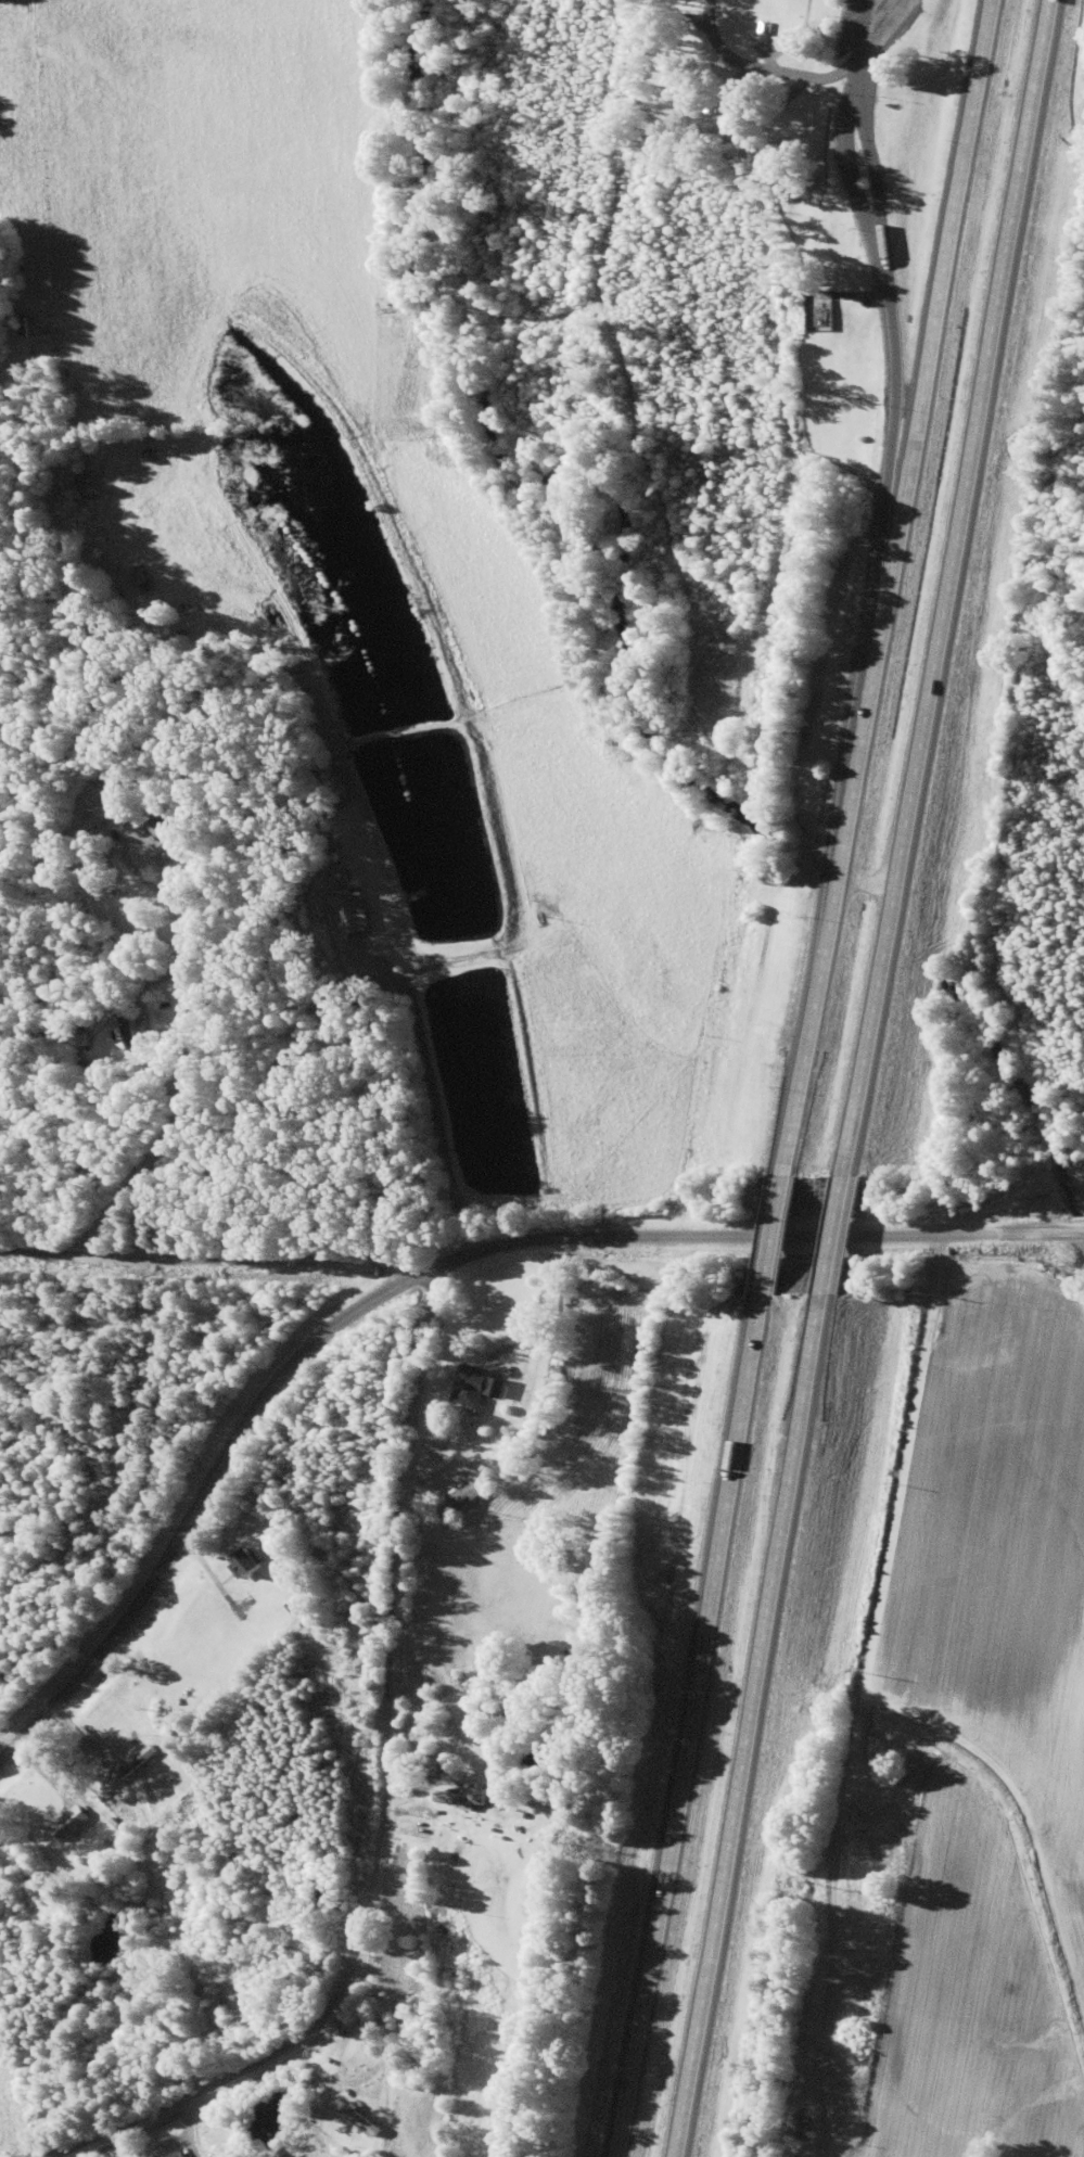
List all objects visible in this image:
road: (879, 346)
road: (879, 585)
road: (946, 586)
building: (99, 808)
building: (158, 831)
building: (344, 911)
road: (41, 931)
road: (947, 1228)
road: (768, 1230)
road: (830, 1230)
road: (208, 1259)
road: (309, 1331)
building: (473, 1384)
building: (455, 1496)
building: (245, 1560)
road: (744, 1723)
road: (684, 1724)
road: (380, 1799)
building: (68, 1821)
building: (355, 2116)
building: (798, 2126)
building: (173, 2155)

